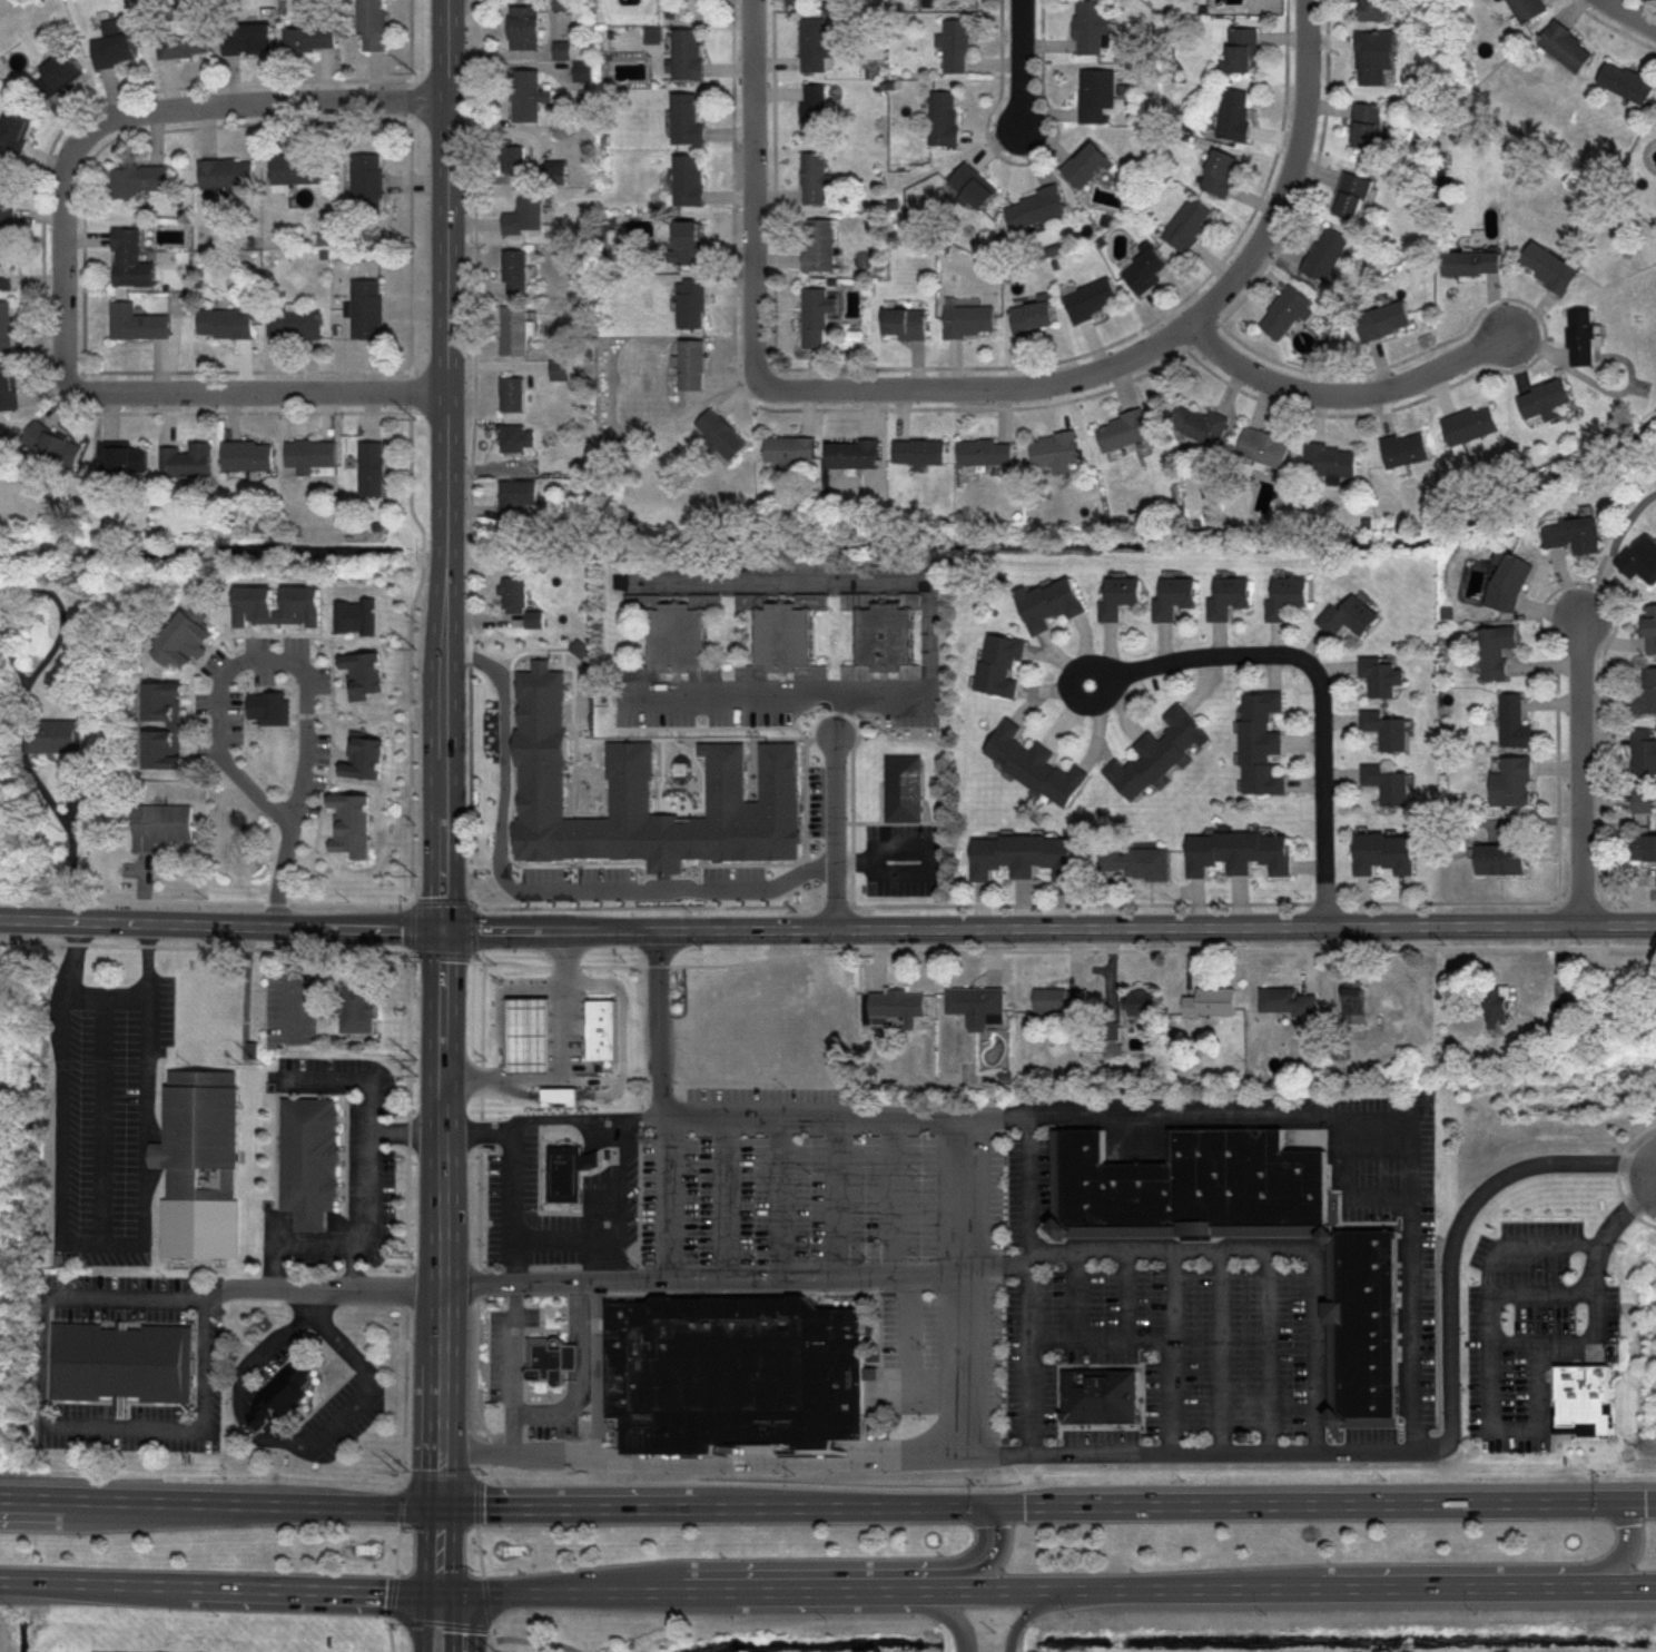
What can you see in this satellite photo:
building: (1372, 3)
building: (1529, 7)
road: (1636, 10)
building: (1090, 21)
building: (524, 22)
building: (372, 23)
building: (246, 37)
building: (308, 38)
building: (184, 39)
building: (812, 40)
building: (955, 40)
building: (562, 43)
building: (112, 44)
building: (1568, 46)
building: (1240, 47)
building: (688, 51)
building: (1376, 57)
road: (1021, 63)
building: (584, 66)
building: (57, 72)
building: (1628, 81)
building: (1096, 88)
building: (530, 92)
road: (264, 102)
building: (815, 107)
building: (1231, 110)
building: (944, 112)
building: (686, 116)
building: (1363, 127)
building: (14, 135)
building: (512, 155)
building: (1084, 161)
building: (297, 166)
building: (1218, 169)
building: (224, 170)
building: (817, 175)
building: (365, 178)
building: (687, 178)
building: (137, 179)
building: (972, 179)
road: (751, 189)
building: (1350, 199)
building: (4, 204)
building: (1037, 204)
building: (528, 214)
building: (1189, 220)
building: (688, 240)
building: (819, 240)
building: (1324, 253)
road: (63, 258)
building: (129, 258)
building: (1470, 259)
building: (4, 261)
building: (514, 264)
building: (1151, 266)
building: (1548, 266)
building: (1090, 295)
building: (691, 301)
building: (367, 304)
building: (1283, 310)
building: (816, 311)
building: (1033, 315)
building: (969, 316)
building: (224, 319)
building: (903, 319)
building: (135, 320)
building: (1380, 320)
building: (294, 322)
building: (6, 324)
building: (516, 326)
road: (442, 330)
building: (1583, 335)
road: (1157, 346)
building: (692, 362)
building: (560, 370)
building: (8, 386)
building: (512, 389)
road: (256, 392)
road: (1350, 395)
building: (1545, 396)
building: (1202, 422)
building: (1470, 422)
building: (1122, 431)
building: (514, 433)
building: (720, 433)
building: (51, 442)
building: (1404, 445)
building: (1263, 447)
building: (791, 448)
building: (920, 448)
building: (986, 448)
building: (1056, 448)
building: (852, 451)
building: (308, 453)
building: (246, 454)
building: (126, 456)
building: (1332, 458)
building: (186, 459)
building: (372, 467)
road: (403, 496)
building: (519, 496)
building: (1574, 534)
building: (1642, 558)
building: (1510, 583)
building: (513, 592)
building: (1121, 596)
building: (1175, 597)
building: (1230, 597)
building: (1288, 597)
building: (1052, 603)
building: (1350, 617)
building: (1650, 629)
road: (927, 634)
building: (884, 637)
building: (672, 641)
building: (783, 644)
building: (1498, 650)
building: (1000, 664)
road: (299, 666)
building: (1381, 676)
road: (1320, 681)
building: (1644, 694)
building: (229, 701)
road: (842, 714)
building: (1515, 722)
building: (1386, 730)
building: (53, 736)
building: (1261, 743)
building: (1644, 751)
building: (1159, 753)
building: (1035, 764)
road: (1581, 770)
building: (1512, 782)
building: (1387, 784)
building: (908, 790)
building: (653, 792)
road: (443, 795)
building: (1643, 801)
building: (160, 824)
road: (836, 828)
road: (69, 844)
building: (1645, 848)
building: (1240, 852)
building: (1384, 852)
building: (1023, 855)
building: (1502, 860)
road: (883, 861)
building: (1135, 862)
road: (536, 897)
road: (1031, 903)
road: (220, 923)
road: (1048, 927)
traffic signals: (443, 930)
road: (802, 956)
road: (70, 958)
road: (292, 979)
road: (105, 996)
parking lot: (290, 1000)
building: (1059, 1000)
building: (1284, 1000)
building: (1211, 1001)
building: (1141, 1002)
building: (975, 1003)
building: (1356, 1003)
building: (1500, 1006)
building: (358, 1007)
building: (897, 1007)
parking lot: (578, 1022)
building: (603, 1028)
road: (620, 1028)
building: (1561, 1029)
building: (532, 1032)
building: (1112, 1036)
road: (565, 1067)
road: (144, 1085)
building: (561, 1095)
road: (641, 1112)
road: (1351, 1112)
road: (570, 1116)
road: (98, 1118)
parking lot: (112, 1125)
road: (406, 1130)
road: (477, 1130)
road: (627, 1137)
parking lot: (361, 1148)
road: (372, 1148)
road: (60, 1151)
building: (307, 1156)
building: (200, 1164)
building: (569, 1170)
road: (1618, 1173)
parking lot: (510, 1188)
road: (723, 1194)
road: (780, 1194)
road: (834, 1194)
road: (891, 1194)
road: (611, 1197)
road: (654, 1211)
road: (1623, 1216)
road: (437, 1217)
building: (1249, 1220)
road: (514, 1227)
road: (292, 1242)
road: (1270, 1249)
road: (595, 1259)
road: (525, 1260)
road: (996, 1262)
parking lot: (994, 1265)
road: (809, 1274)
road: (1027, 1283)
road: (247, 1289)
road: (1071, 1292)
road: (1123, 1292)
road: (1167, 1292)
parking lot: (122, 1298)
parking lot: (531, 1316)
parking lot: (1531, 1324)
road: (553, 1328)
road: (1156, 1335)
road: (1516, 1338)
road: (524, 1349)
road: (1216, 1349)
road: (1265, 1351)
parking lot: (282, 1353)
parking lot: (495, 1354)
road: (908, 1357)
building: (551, 1358)
building: (119, 1364)
road: (512, 1366)
building: (735, 1372)
road: (579, 1374)
building: (287, 1389)
road: (551, 1393)
building: (1100, 1395)
building: (1584, 1399)
parking lot: (338, 1415)
parking lot: (147, 1417)
road: (1491, 1418)
road: (189, 1425)
parking lot: (552, 1427)
road: (282, 1440)
road: (1104, 1453)
road: (701, 1462)
road: (441, 1475)
road: (13, 1497)
road: (401, 1498)
road: (475, 1498)
road: (13, 1500)
road: (230, 1504)
traffic signals: (1617, 1504)
road: (707, 1505)
traffic signals: (977, 1505)
road: (1317, 1505)
traffic signals: (436, 1506)
road: (396, 1549)
road: (436, 1549)
road: (479, 1549)
road: (1617, 1561)
road: (967, 1565)
road: (217, 1589)
road: (1274, 1589)
road: (664, 1591)
traffic signals: (436, 1592)
road: (391, 1595)
road: (485, 1602)
road: (943, 1609)
road: (1022, 1614)
road: (425, 1621)
road: (447, 1621)
road: (438, 1622)
road: (491, 1633)
road: (535, 1640)
road: (494, 1645)

